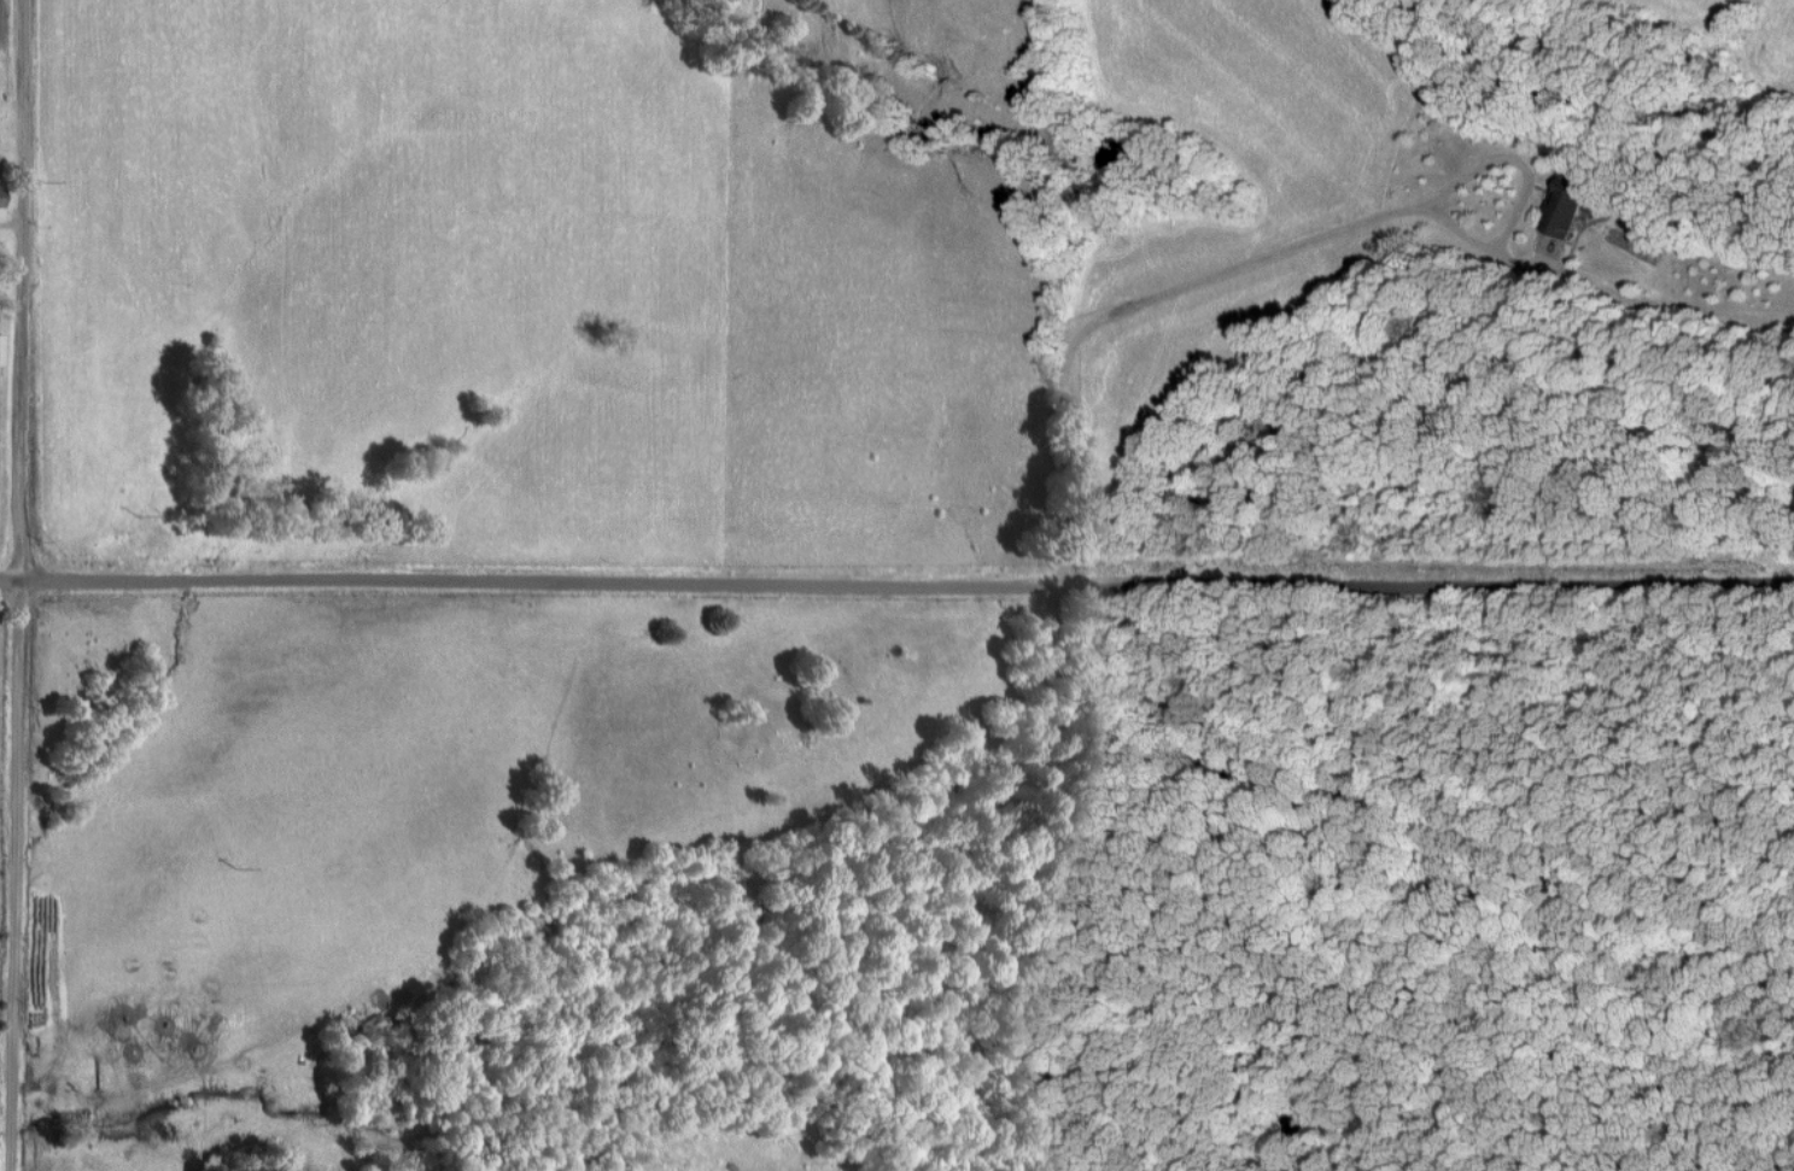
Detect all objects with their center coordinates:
building: (1, 195)
building: (1568, 207)
building: (1, 350)
road: (17, 585)
road: (896, 586)

